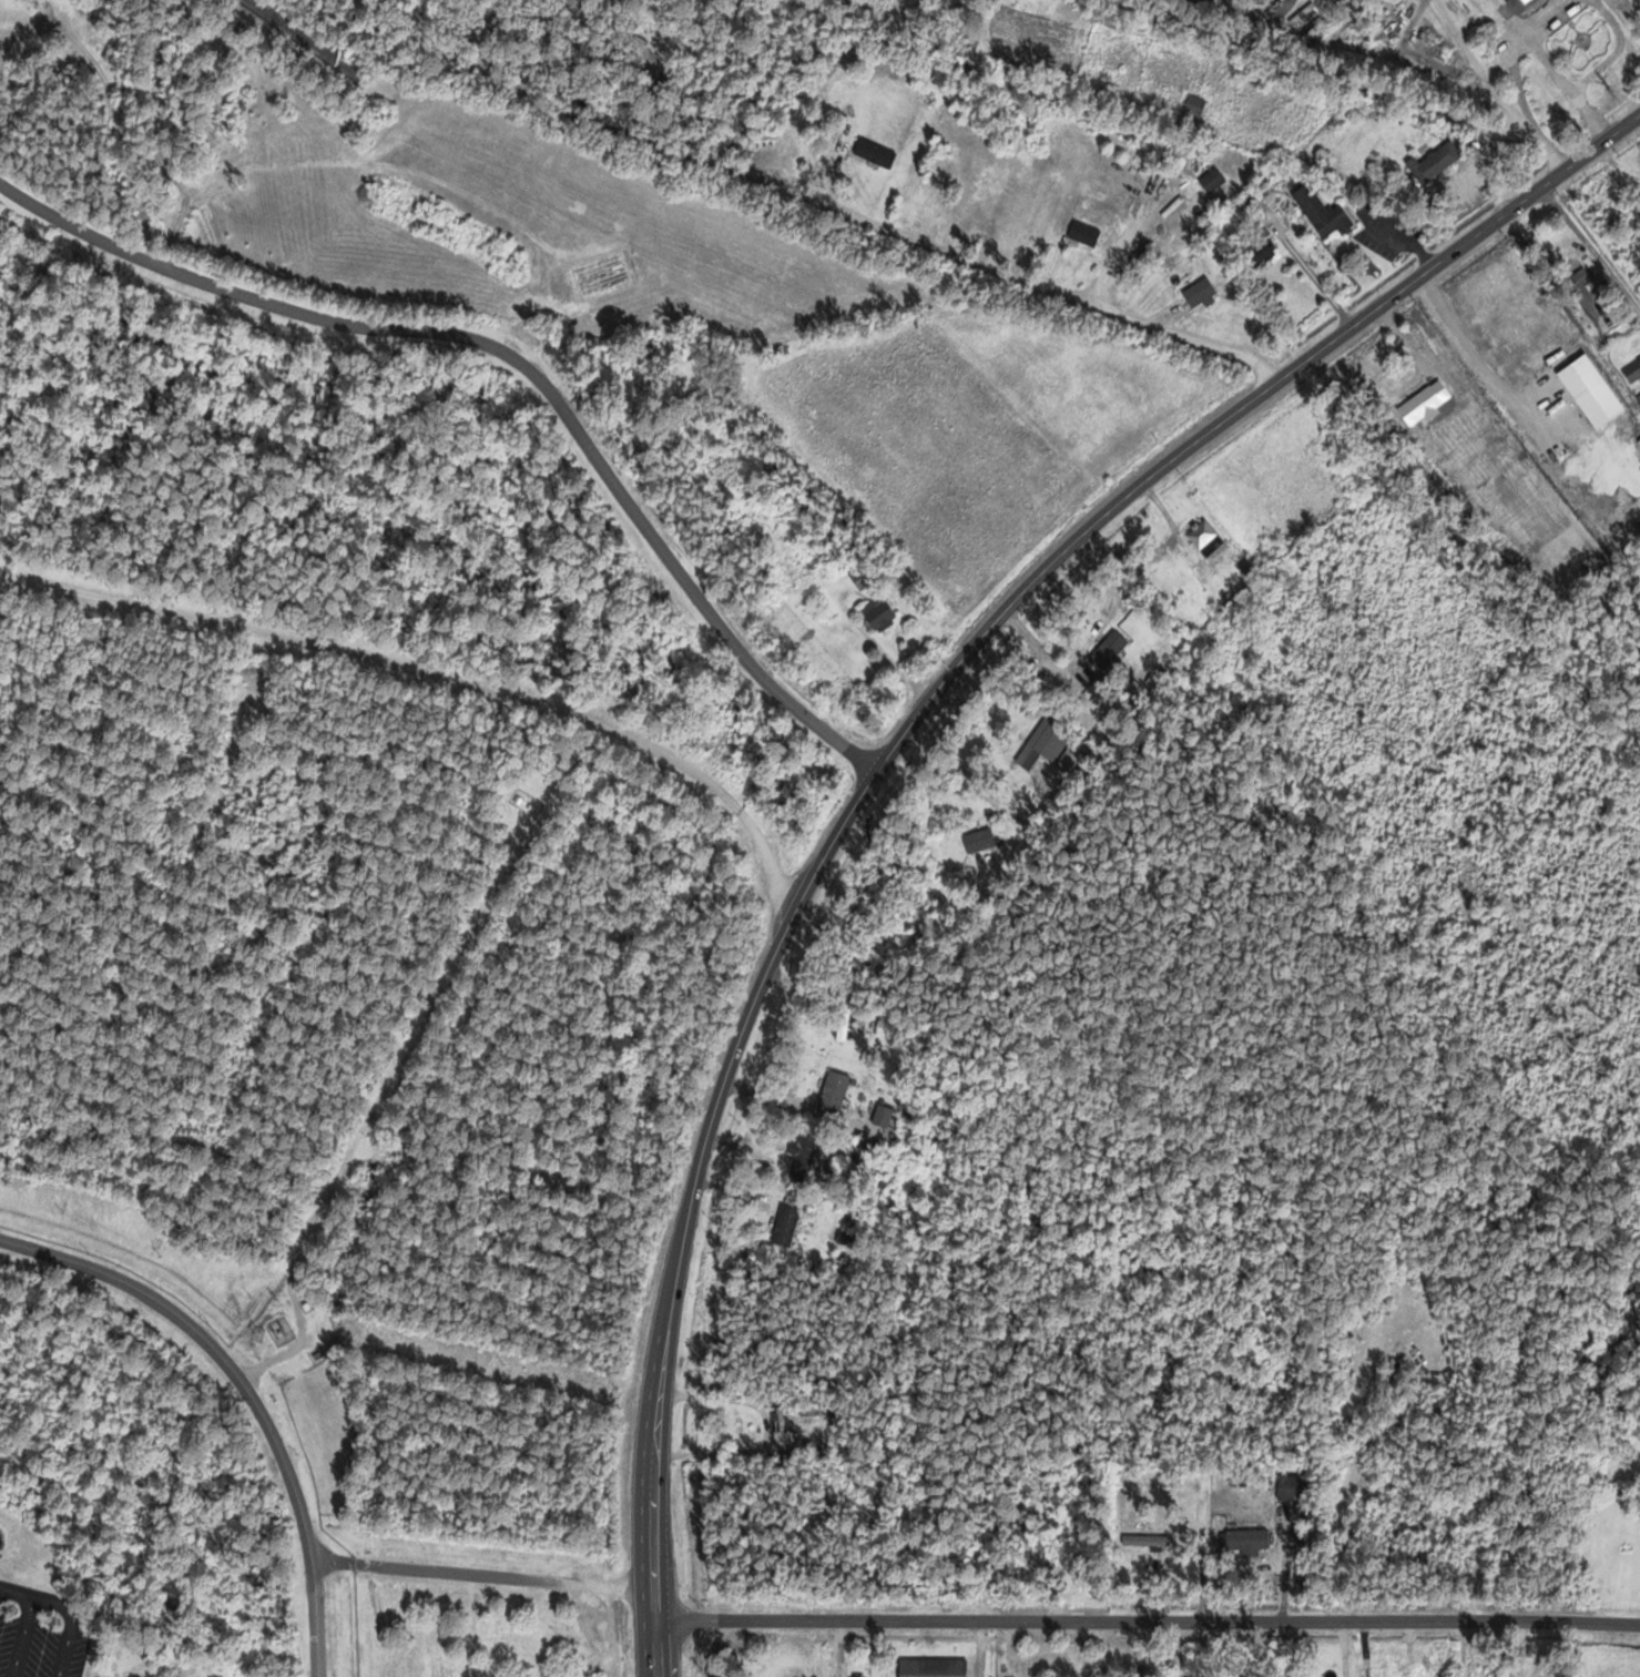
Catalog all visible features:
building: (846, 0)
road: (1147, 2)
building: (1518, 4)
building: (1116, 20)
road: (1531, 44)
road: (1610, 51)
road: (1354, 78)
building: (1191, 113)
road: (1586, 115)
building: (874, 153)
building: (1435, 162)
building: (1212, 180)
building: (1323, 212)
building: (1084, 233)
building: (1260, 253)
road: (1590, 253)
road: (990, 265)
building: (1200, 293)
road: (1463, 357)
road: (513, 359)
building: (1632, 370)
building: (1424, 404)
building: (1494, 448)
building: (1206, 540)
building: (860, 576)
building: (878, 613)
building: (1107, 651)
road: (437, 677)
building: (1043, 743)
road: (895, 745)
road: (945, 763)
building: (978, 841)
building: (841, 1024)
building: (832, 1095)
building: (883, 1115)
building: (802, 1156)
building: (785, 1226)
road: (245, 1392)
building: (808, 1409)
road: (765, 1429)
building: (783, 1429)
building: (1291, 1488)
building: (1092, 1536)
building: (1243, 1539)
building: (1145, 1541)
road: (483, 1574)
road: (1148, 1619)
building: (933, 1667)
building: (865, 1675)

